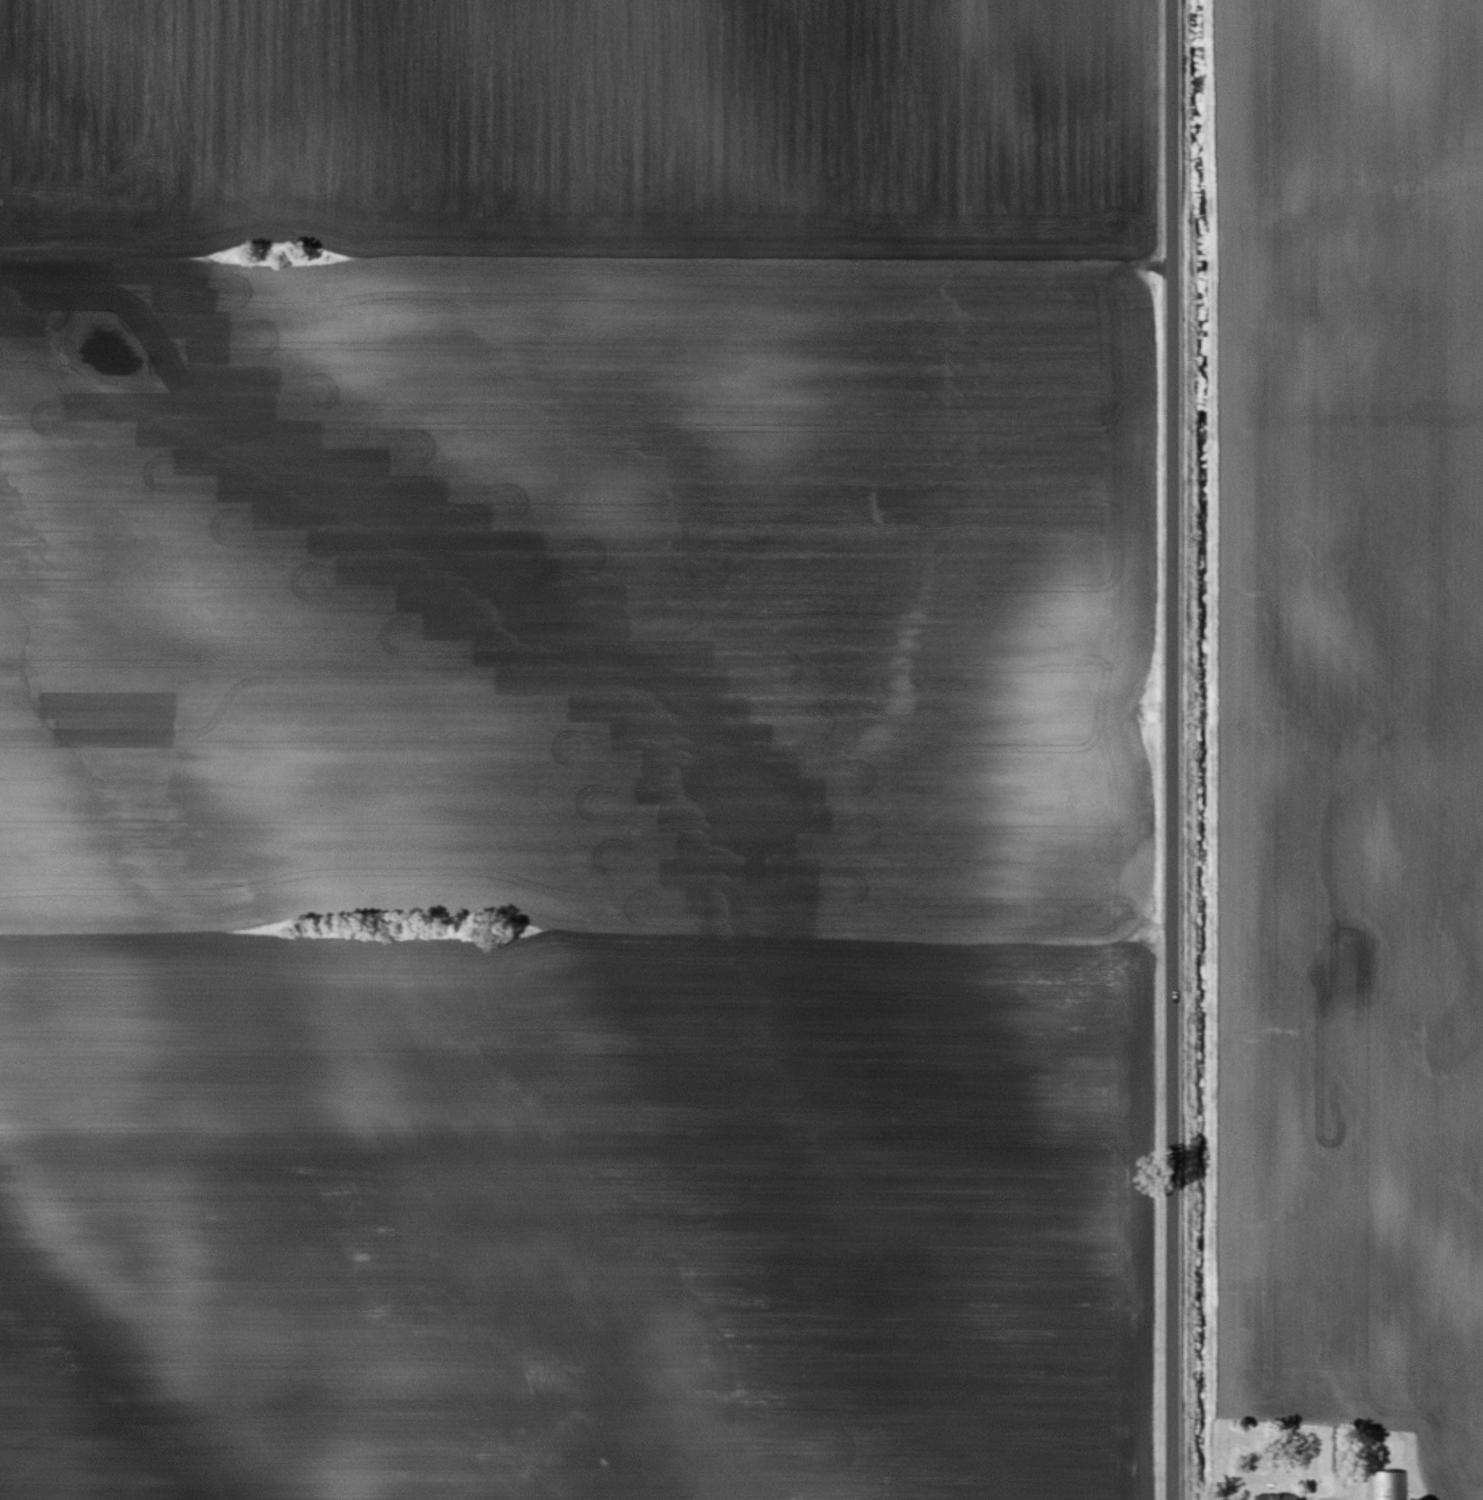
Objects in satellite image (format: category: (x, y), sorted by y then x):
road: (1179, 750)

